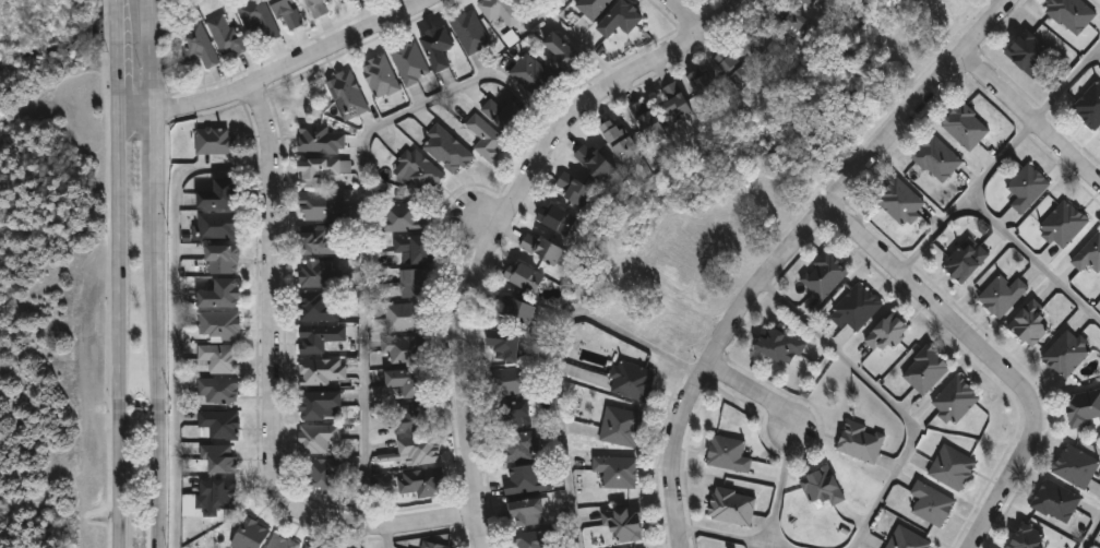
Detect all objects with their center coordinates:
building: (346, 1)
building: (811, 2)
building: (320, 7)
building: (593, 7)
building: (501, 10)
building: (288, 13)
building: (1072, 14)
road: (683, 16)
building: (784, 16)
building: (620, 17)
building: (259, 19)
building: (470, 32)
building: (226, 36)
road: (577, 37)
building: (199, 45)
building: (438, 47)
building: (769, 48)
road: (120, 53)
road: (152, 53)
building: (1029, 53)
building: (562, 55)
building: (409, 61)
building: (736, 68)
road: (277, 71)
building: (381, 76)
building: (534, 76)
road: (1065, 85)
building: (707, 86)
building: (348, 95)
building: (674, 100)
building: (1090, 106)
building: (505, 115)
building: (648, 119)
road: (1032, 122)
building: (966, 126)
building: (488, 139)
building: (620, 139)
building: (321, 140)
building: (215, 141)
building: (446, 150)
building: (937, 158)
building: (595, 162)
building: (321, 170)
building: (421, 170)
building: (1028, 188)
building: (574, 189)
building: (218, 193)
road: (966, 198)
building: (900, 202)
building: (322, 206)
road: (363, 211)
road: (474, 213)
road: (491, 218)
building: (557, 218)
building: (403, 219)
building: (1064, 225)
building: (219, 226)
building: (318, 241)
building: (542, 248)
building: (417, 249)
road: (794, 251)
building: (1089, 255)
road: (1033, 259)
building: (224, 260)
building: (966, 261)
building: (319, 274)
building: (825, 275)
building: (525, 277)
building: (416, 283)
building: (222, 294)
building: (1003, 296)
building: (320, 307)
building: (857, 309)
road: (175, 311)
building: (519, 312)
building: (406, 317)
building: (1032, 324)
building: (219, 325)
road: (122, 327)
road: (158, 327)
building: (888, 333)
building: (320, 336)
building: (504, 344)
building: (780, 345)
building: (409, 348)
building: (1067, 353)
road: (554, 354)
building: (219, 358)
road: (984, 361)
building: (926, 370)
building: (323, 371)
building: (514, 380)
building: (633, 381)
building: (409, 382)
road: (273, 388)
building: (218, 391)
road: (754, 391)
building: (956, 400)
road: (889, 401)
building: (321, 405)
building: (1084, 408)
building: (517, 414)
building: (410, 418)
building: (220, 424)
building: (622, 426)
building: (319, 438)
building: (861, 442)
building: (522, 446)
building: (419, 450)
building: (729, 453)
building: (219, 457)
building: (1076, 466)
building: (953, 467)
building: (618, 470)
building: (325, 476)
building: (525, 479)
building: (423, 481)
building: (823, 486)
building: (219, 491)
road: (781, 491)
building: (1056, 501)
building: (932, 503)
building: (732, 505)
building: (527, 512)
building: (624, 523)
building: (250, 534)
road: (384, 534)
road: (1091, 534)
road: (727, 536)
building: (1028, 537)
building: (537, 539)
building: (908, 539)
building: (282, 541)
building: (433, 545)
building: (308, 547)

